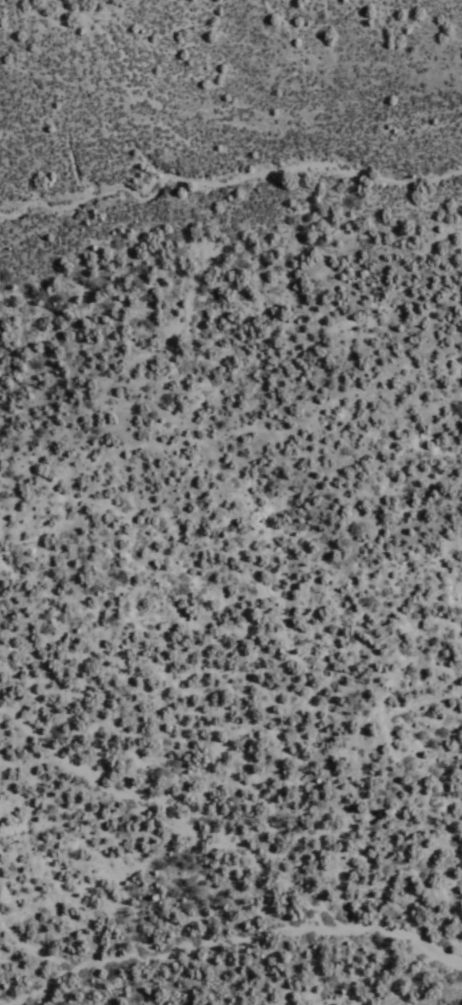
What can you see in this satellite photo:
road: (246, 571)
road: (249, 840)

